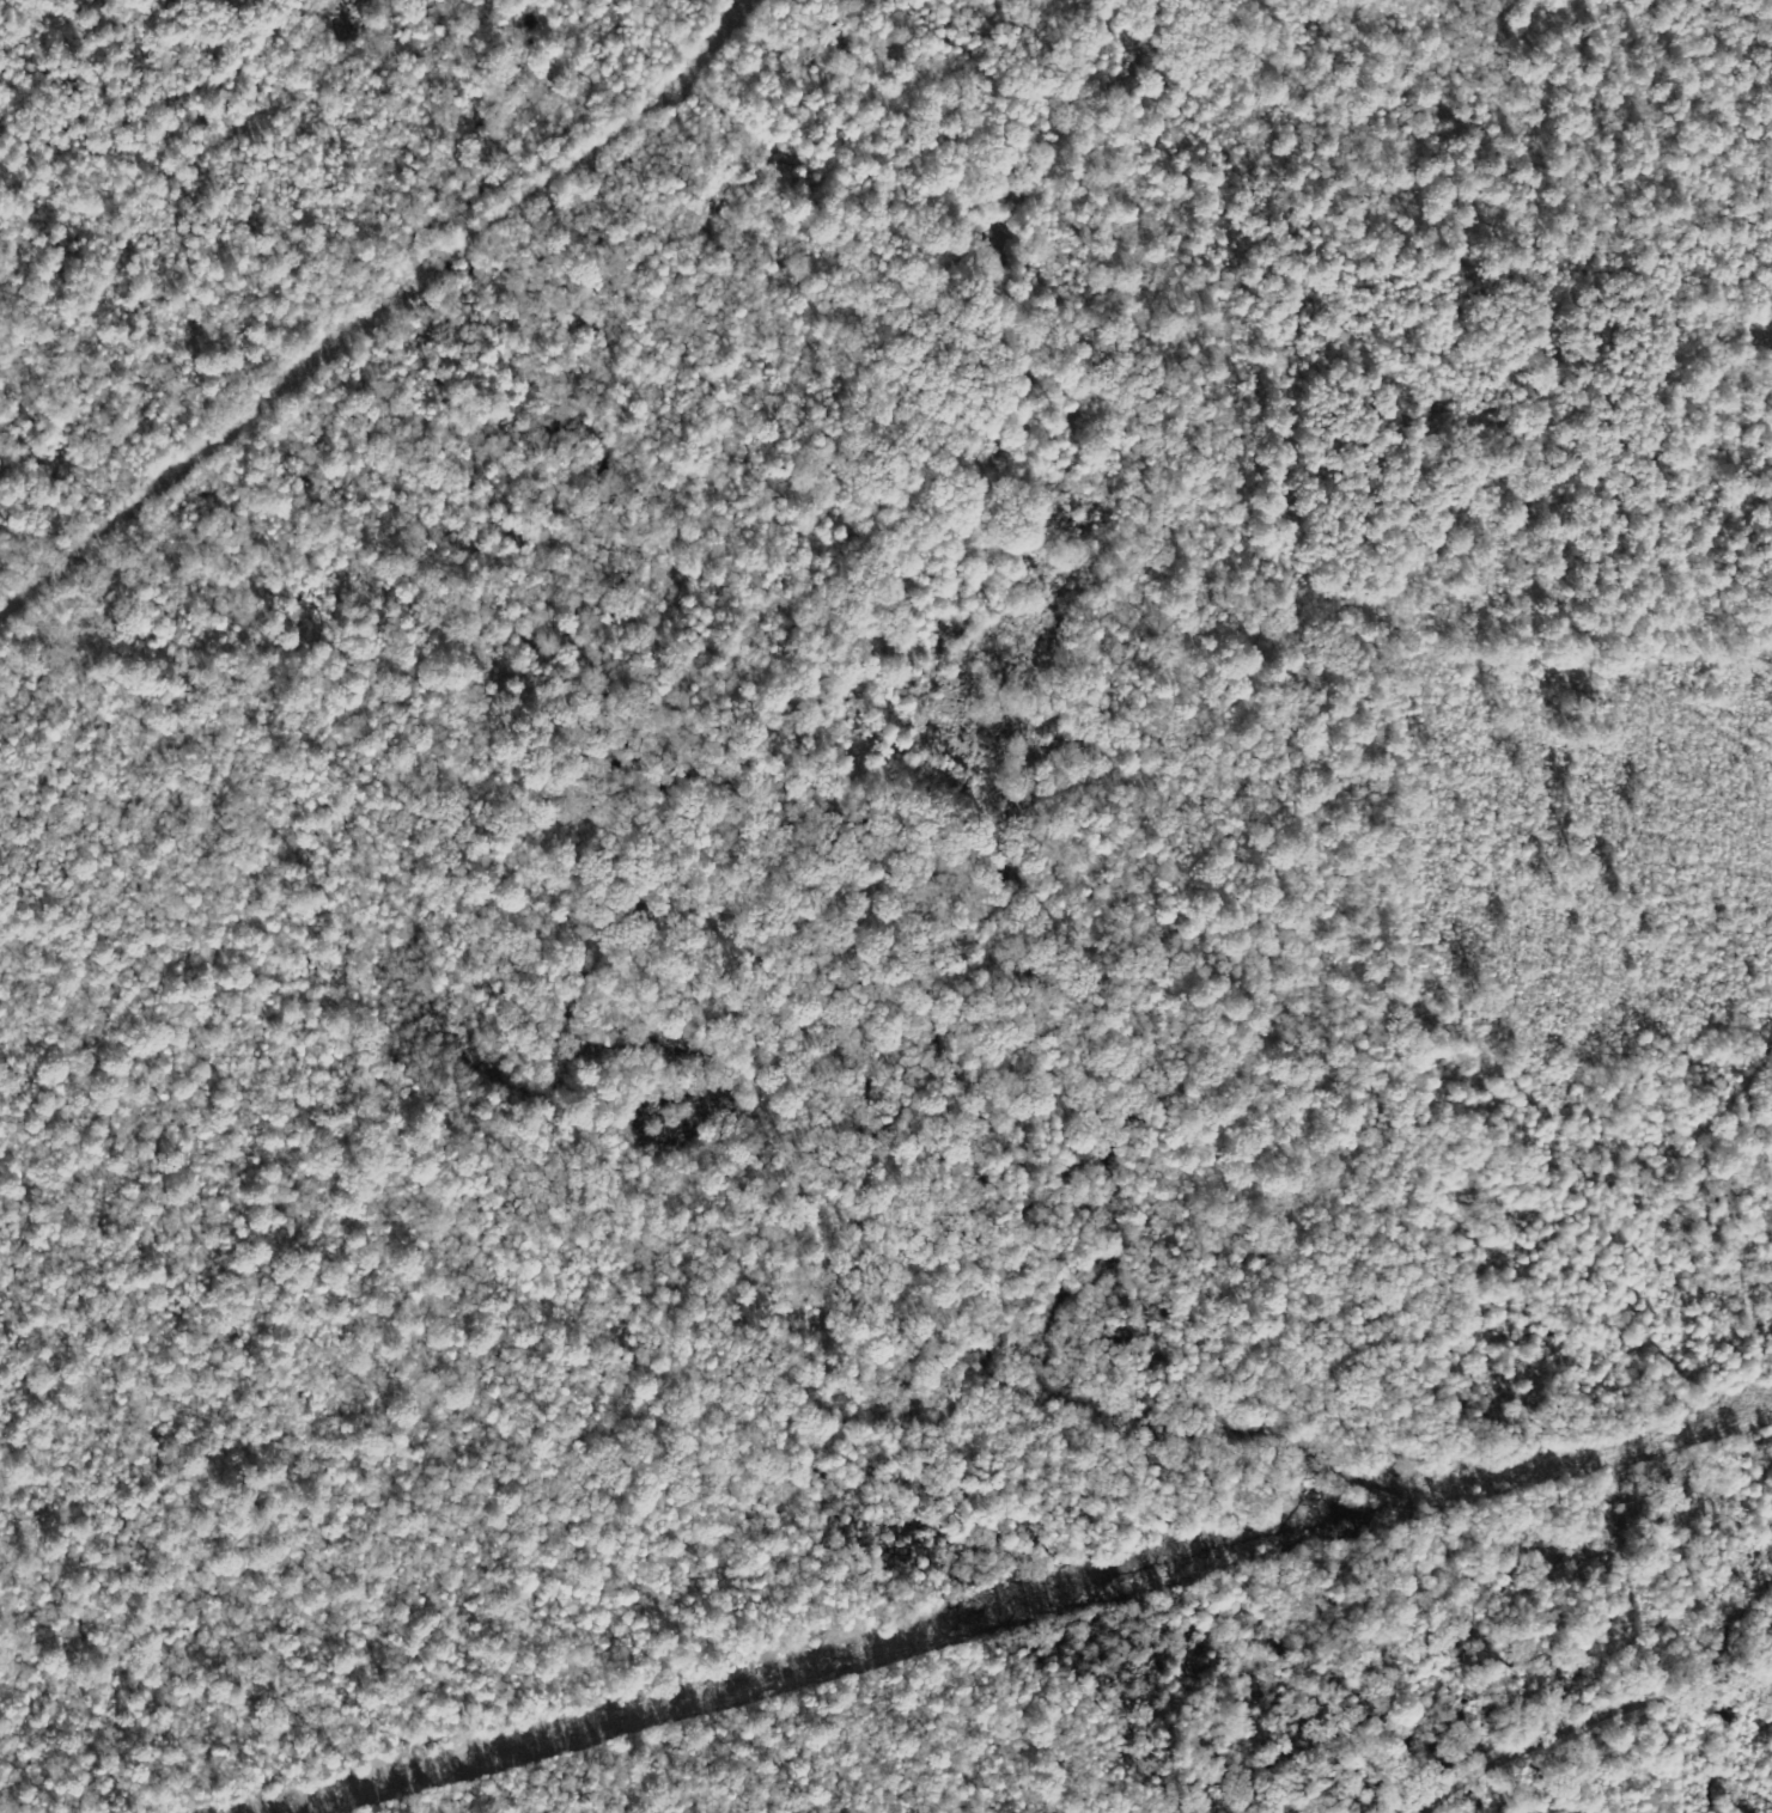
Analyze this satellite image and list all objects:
road: (1593, 1723)

